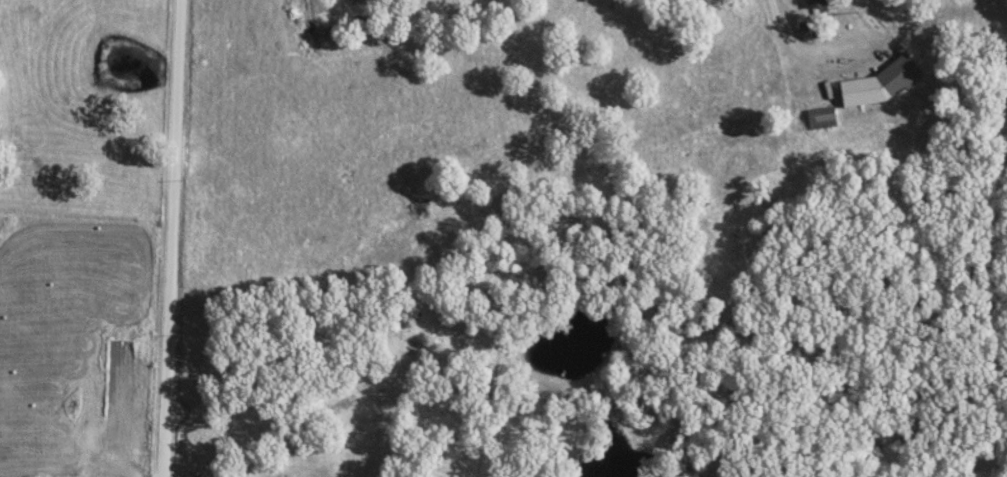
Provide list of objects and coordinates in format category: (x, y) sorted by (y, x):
building: (814, 2)
road: (816, 56)
building: (820, 117)
building: (743, 163)
road: (172, 238)

